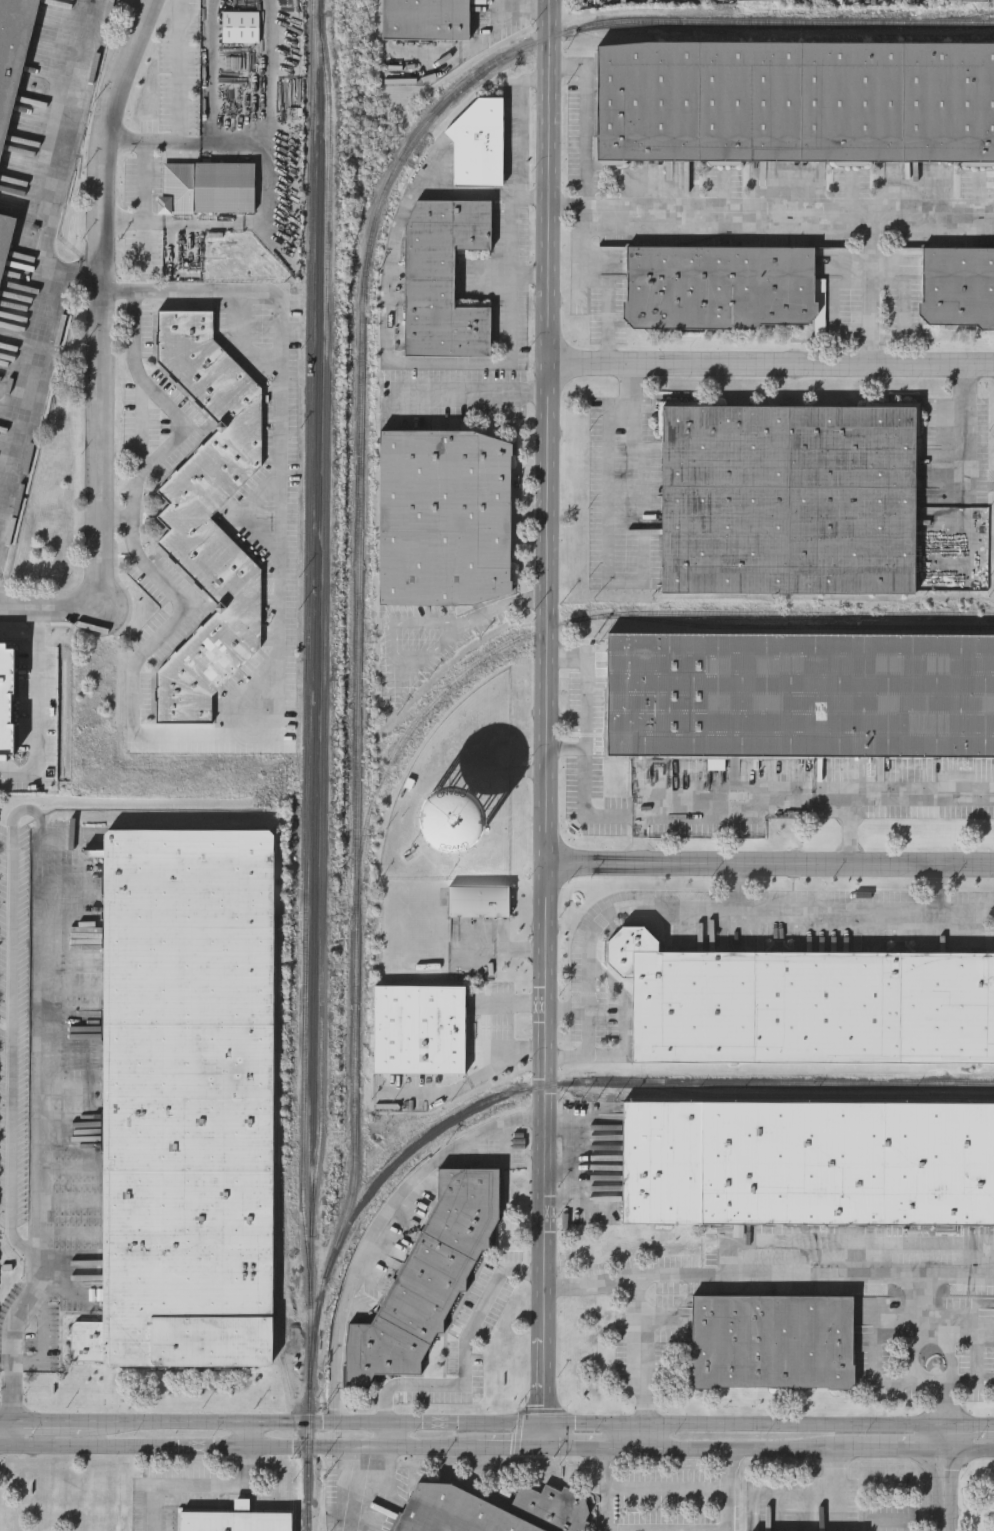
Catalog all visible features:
building: (751, 0)
building: (968, 2)
railway: (975, 14)
building: (424, 19)
railway: (844, 36)
building: (12, 51)
road: (263, 69)
road: (208, 70)
road: (179, 78)
building: (797, 102)
road: (586, 118)
building: (479, 144)
road: (144, 181)
road: (519, 184)
road: (283, 185)
building: (207, 187)
road: (532, 198)
road: (568, 205)
road: (640, 205)
road: (871, 224)
building: (5, 241)
road: (51, 264)
building: (444, 278)
building: (720, 286)
building: (957, 289)
road: (118, 290)
road: (282, 311)
road: (390, 331)
road: (99, 350)
road: (770, 365)
road: (472, 393)
road: (178, 430)
road: (968, 430)
railway: (360, 445)
building: (787, 503)
building: (209, 514)
building: (444, 516)
road: (610, 573)
road: (498, 609)
road: (179, 616)
railway: (325, 617)
railway: (592, 617)
railway: (788, 627)
railway: (307, 642)
road: (394, 646)
road: (585, 681)
building: (802, 697)
building: (7, 706)
road: (39, 709)
road: (545, 723)
railway: (314, 765)
road: (584, 781)
road: (748, 799)
road: (887, 799)
building: (446, 810)
road: (47, 819)
road: (769, 868)
road: (737, 890)
road: (940, 891)
building: (480, 902)
road: (705, 911)
road: (517, 1003)
building: (2, 1004)
building: (806, 1006)
road: (568, 1011)
road: (20, 1022)
building: (419, 1030)
road: (473, 1078)
railway: (621, 1083)
railway: (809, 1096)
building: (183, 1102)
railway: (278, 1117)
road: (44, 1152)
road: (588, 1163)
building: (808, 1166)
road: (410, 1185)
road: (31, 1238)
road: (768, 1271)
building: (426, 1279)
road: (947, 1339)
building: (772, 1345)
road: (465, 1354)
road: (641, 1361)
road: (339, 1374)
road: (43, 1424)
road: (515, 1424)
traffic signals: (542, 1425)
road: (970, 1427)
road: (389, 1435)
road: (946, 1438)
road: (500, 1447)
traffic signals: (542, 1447)
road: (557, 1447)
road: (609, 1447)
road: (229, 1448)
road: (750, 1448)
road: (901, 1449)
road: (970, 1450)
road: (211, 1486)
road: (363, 1486)
road: (727, 1489)
road: (604, 1490)
road: (945, 1490)
road: (823, 1499)
building: (491, 1511)
road: (905, 1516)
building: (235, 1520)
railway: (310, 1524)

